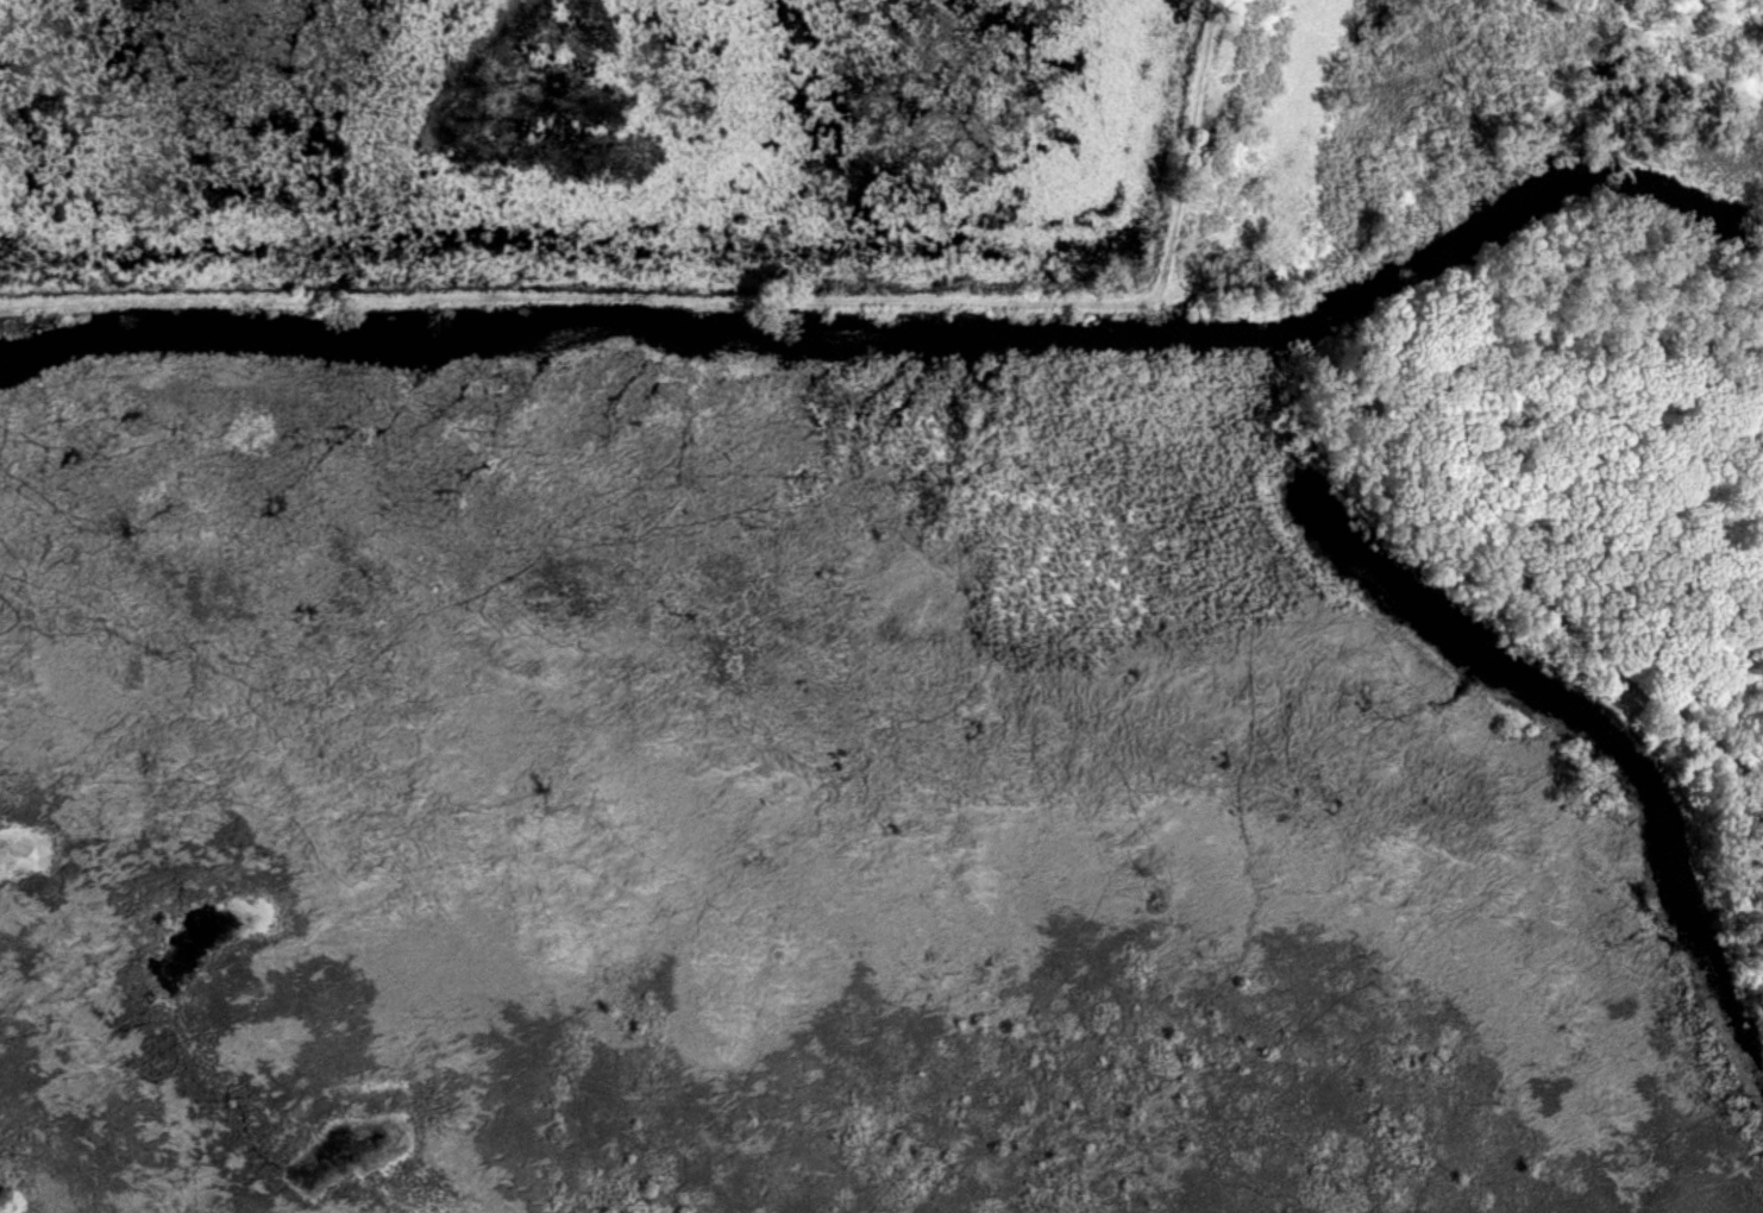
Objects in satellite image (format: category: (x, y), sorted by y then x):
river: (908, 329)

